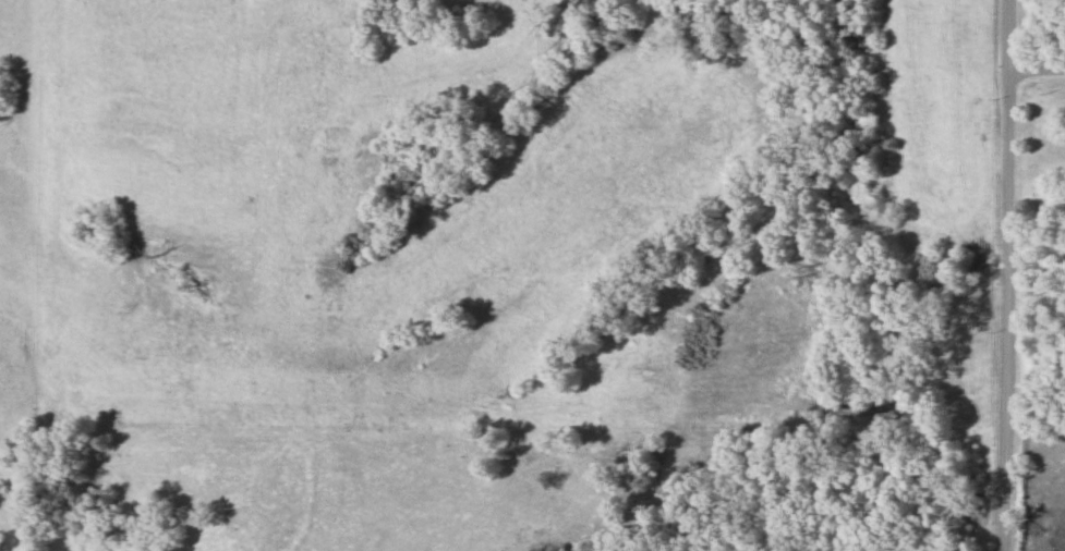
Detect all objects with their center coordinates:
road: (1038, 70)
road: (1010, 275)

